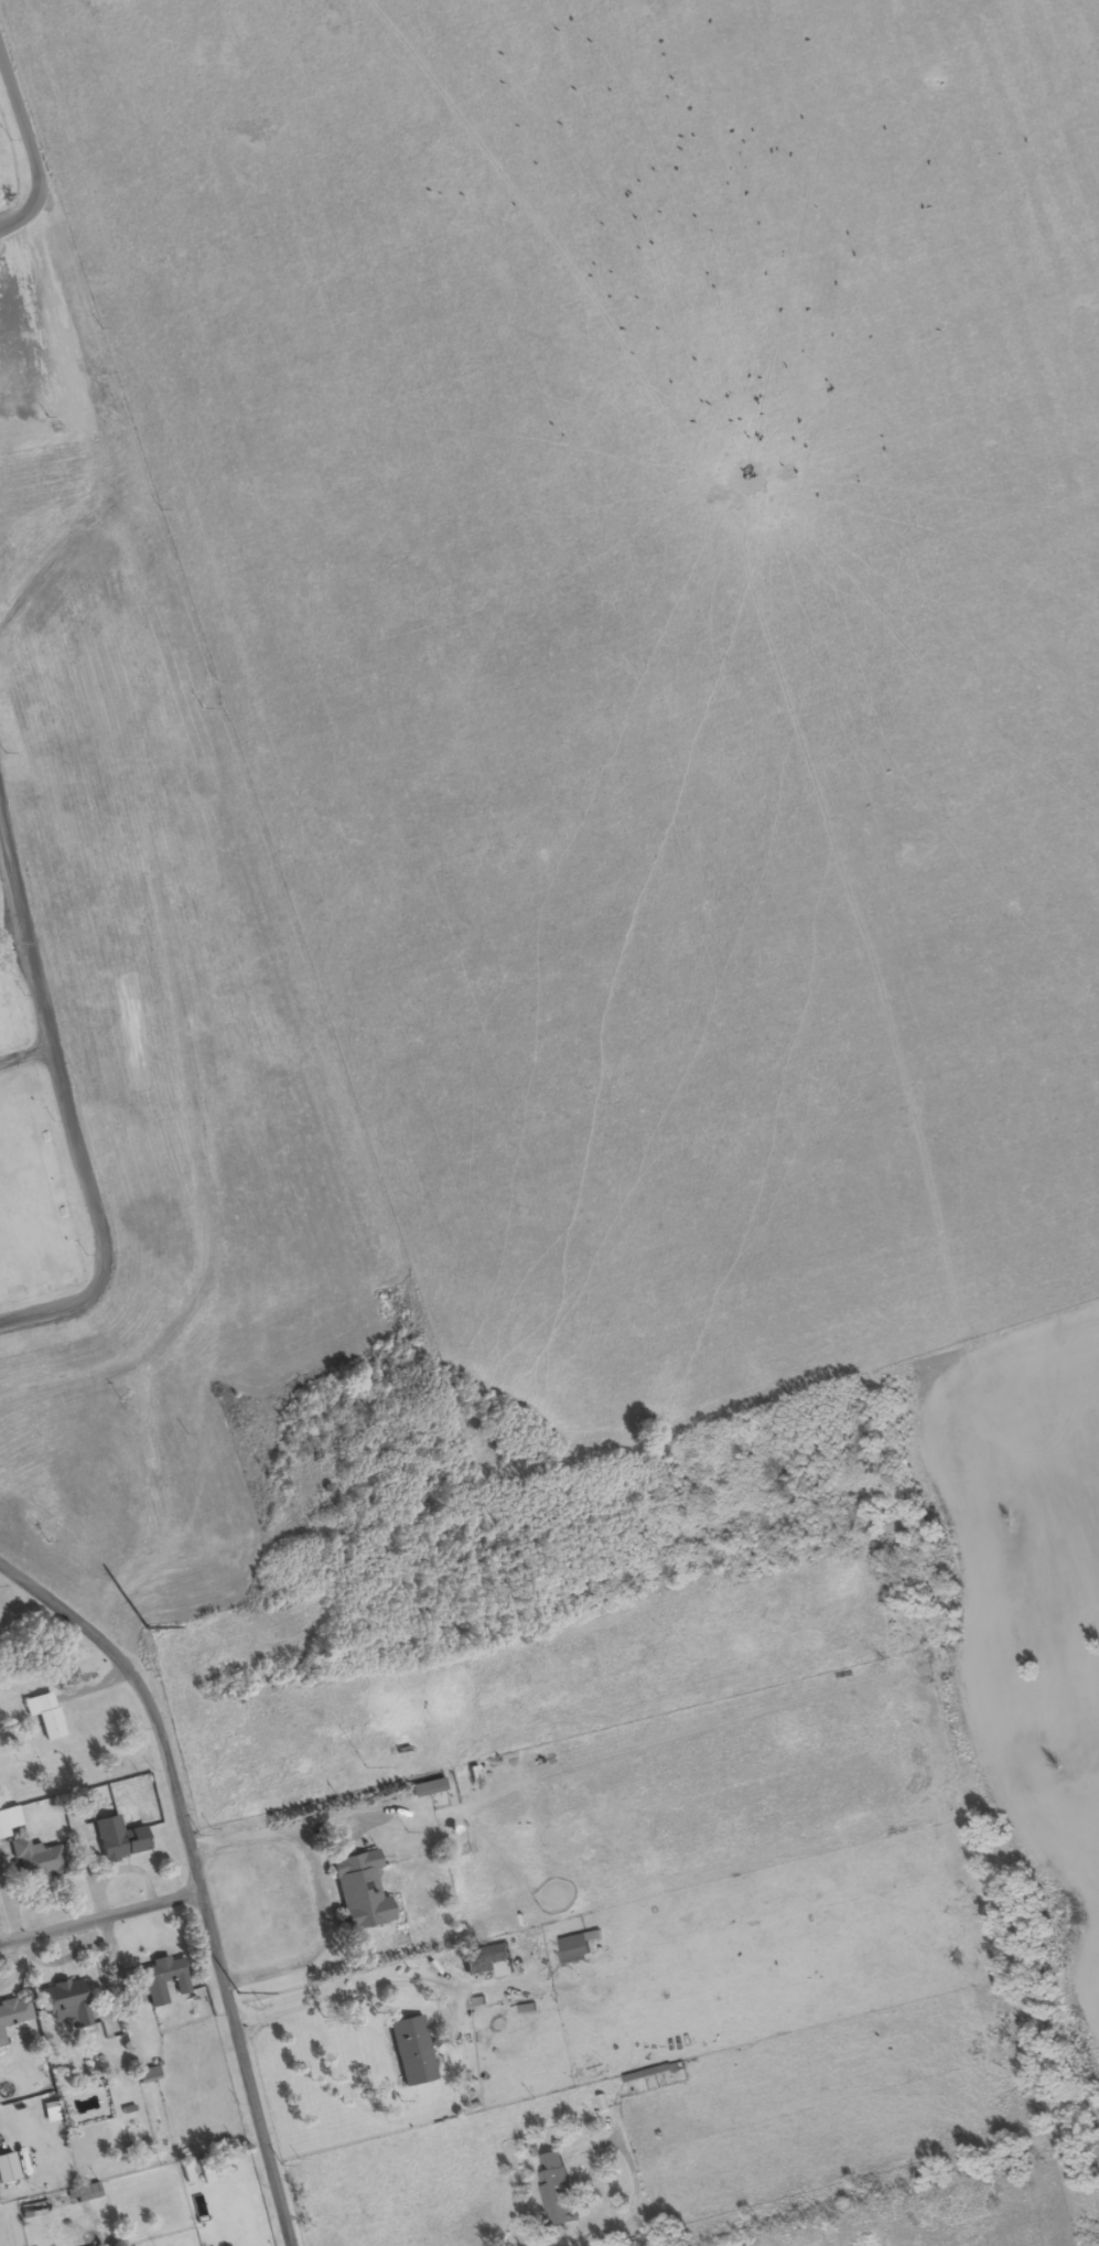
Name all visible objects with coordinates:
road: (29, 148)
road: (32, 963)
park: (141, 1012)
power tower: (146, 1626)
building: (43, 1716)
building: (425, 1788)
building: (8, 1820)
building: (117, 1840)
building: (35, 1859)
road: (200, 1877)
building: (358, 1892)
road: (103, 1920)
building: (577, 1947)
building: (487, 1962)
building: (162, 1980)
power tower: (237, 1992)
building: (65, 2005)
building: (11, 2013)
building: (1, 2041)
building: (410, 2051)
building: (147, 2075)
building: (6, 2169)
building: (193, 2172)
building: (556, 2189)
building: (83, 2193)

